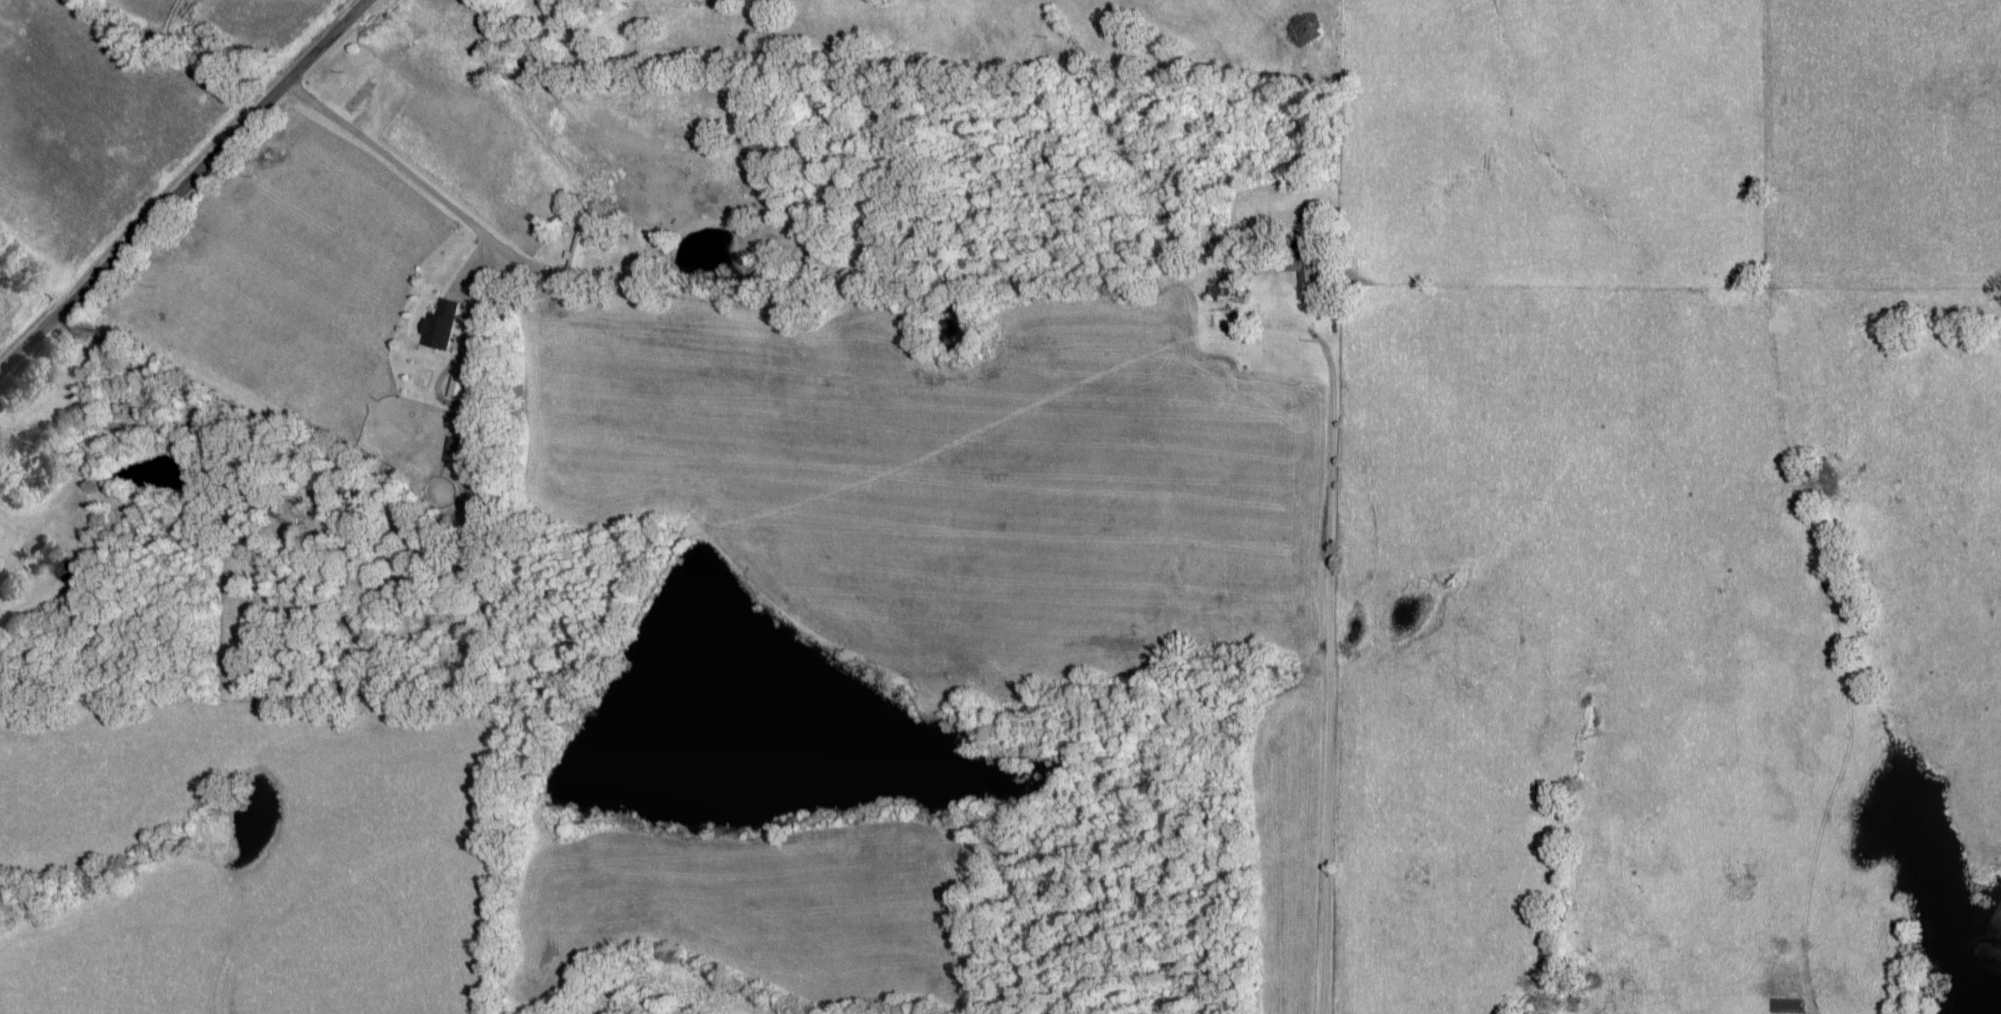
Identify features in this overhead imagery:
building: (355, 97)
road: (181, 184)
building: (575, 250)
building: (636, 265)
building: (1301, 267)
building: (1222, 291)
building: (437, 326)
building: (455, 388)
building: (459, 451)
building: (48, 557)
road: (1320, 632)
building: (1784, 1006)

